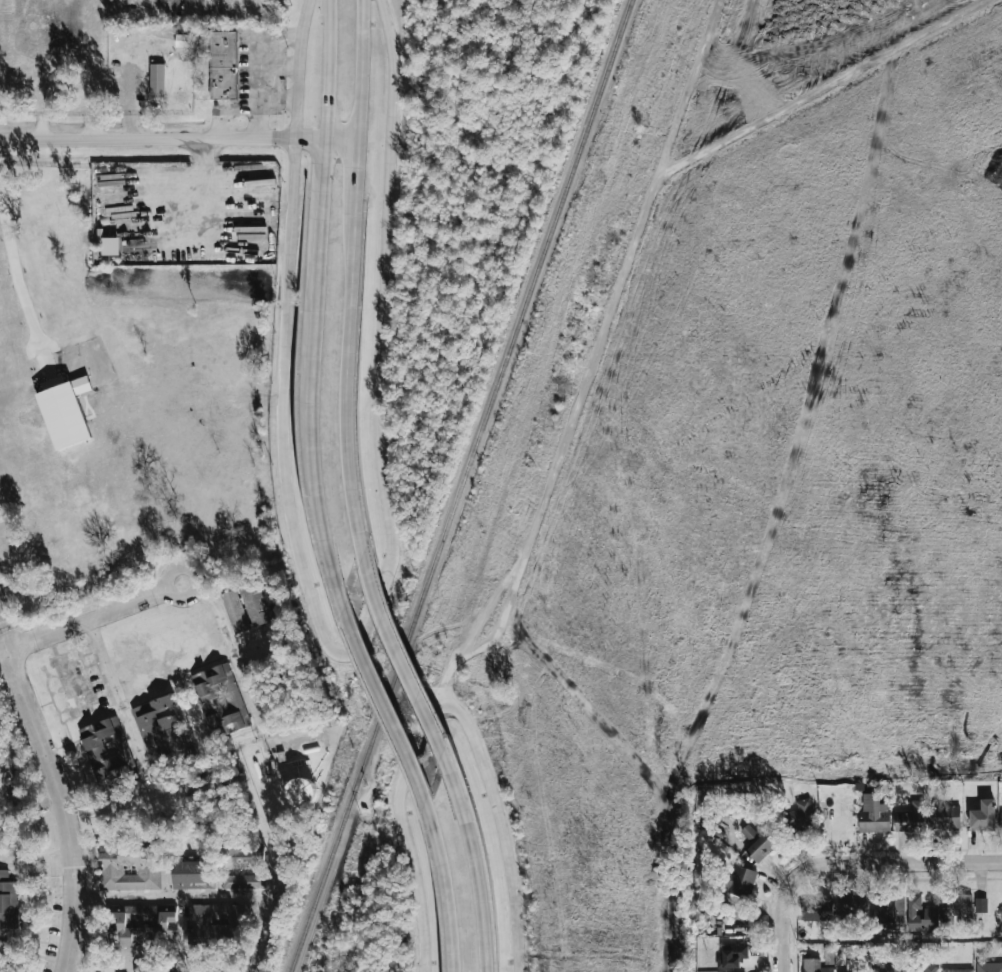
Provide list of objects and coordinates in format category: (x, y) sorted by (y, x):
building: (5, 32)
road: (300, 50)
building: (223, 65)
road: (279, 65)
road: (258, 67)
road: (328, 69)
road: (360, 69)
road: (31, 71)
building: (157, 80)
road: (687, 88)
road: (278, 100)
road: (225, 109)
road: (296, 119)
road: (311, 138)
road: (342, 138)
road: (148, 139)
road: (357, 174)
building: (111, 246)
road: (17, 276)
road: (621, 276)
road: (306, 374)
road: (347, 382)
building: (65, 410)
railway: (463, 486)
road: (186, 586)
road: (375, 599)
building: (257, 603)
building: (235, 612)
road: (499, 623)
road: (398, 653)
building: (220, 699)
road: (382, 704)
road: (443, 705)
road: (128, 706)
building: (162, 732)
building: (107, 752)
power substation: (289, 785)
building: (301, 791)
road: (59, 792)
building: (803, 814)
building: (874, 814)
building: (984, 816)
building: (945, 817)
building: (911, 818)
building: (1001, 819)
building: (759, 842)
building: (243, 855)
road: (476, 858)
road: (896, 864)
building: (150, 866)
building: (192, 872)
building: (244, 881)
building: (741, 881)
road: (443, 885)
road: (173, 897)
building: (8, 905)
building: (853, 905)
building: (981, 905)
building: (957, 908)
building: (818, 909)
building: (890, 915)
building: (921, 916)
building: (216, 922)
road: (781, 923)
building: (732, 956)
building: (815, 966)
building: (888, 967)
building: (989, 967)
building: (922, 969)
building: (957, 970)
building: (158, 971)
building: (857, 971)

